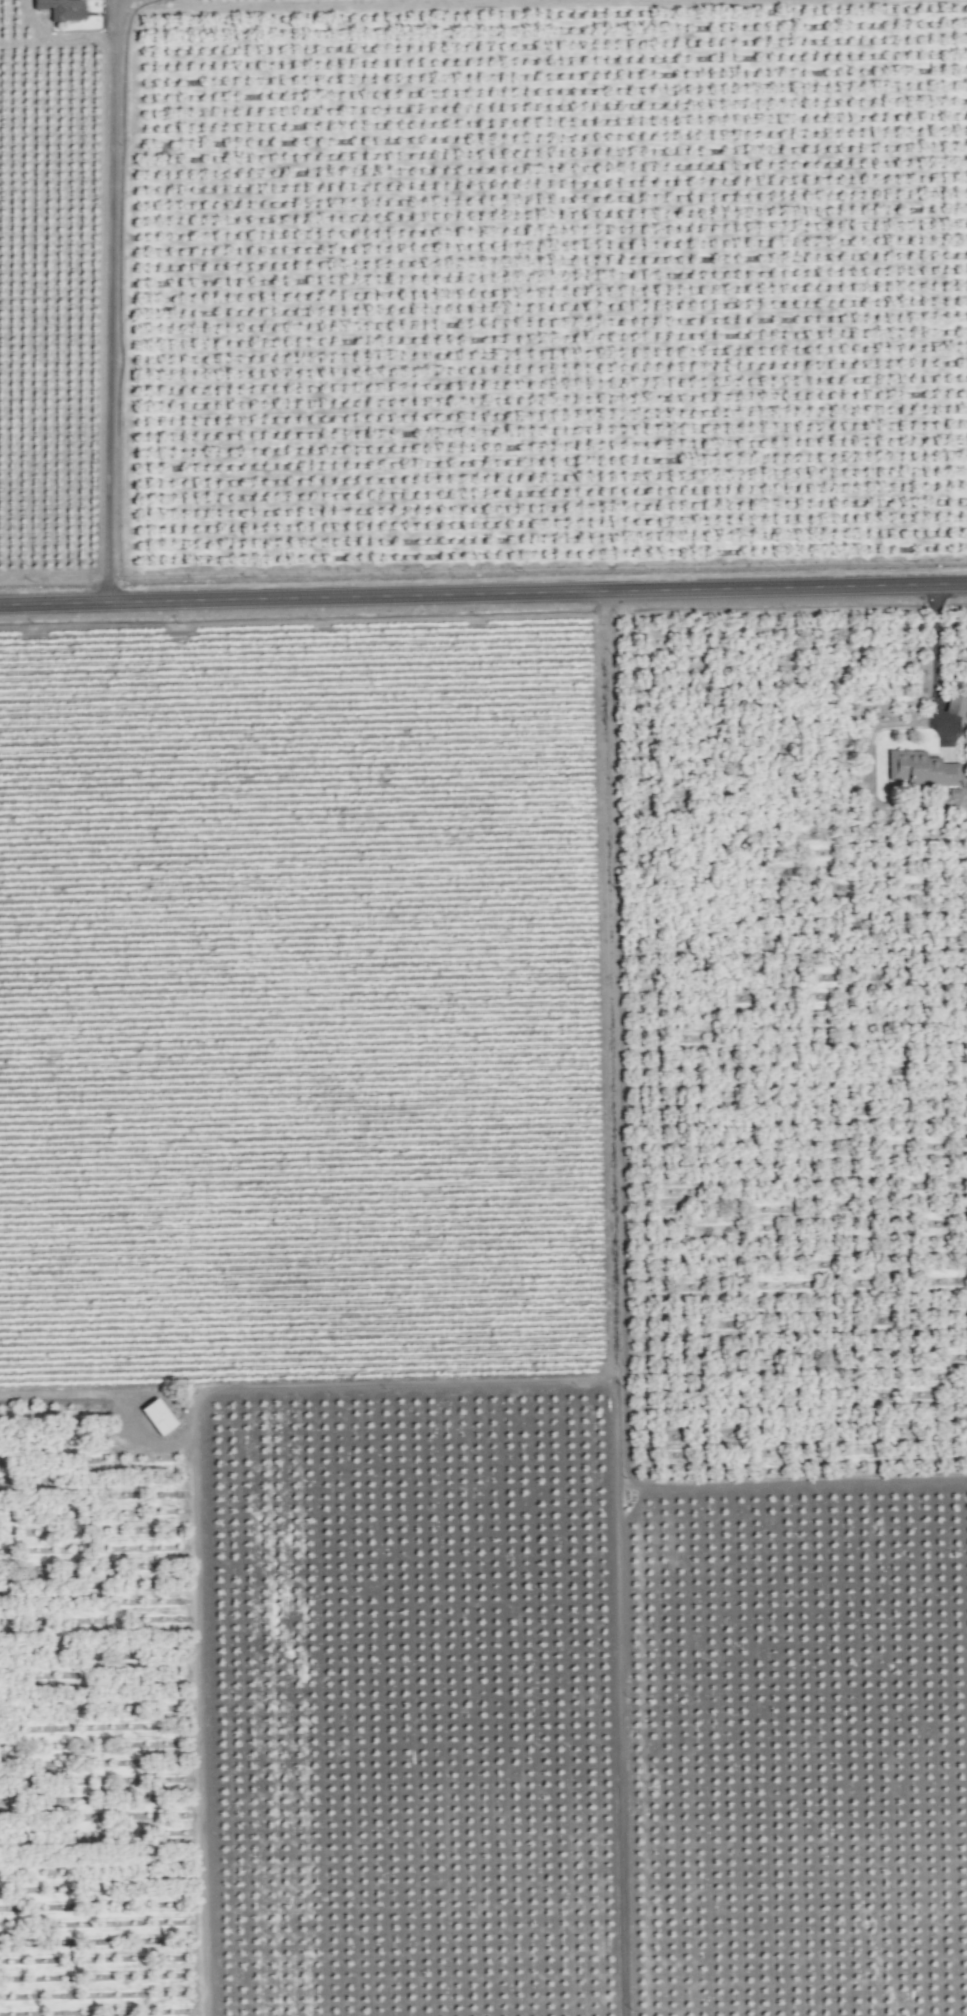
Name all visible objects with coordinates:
building: (60, 8)
road: (110, 302)
road: (483, 596)
road: (937, 669)
building: (956, 704)
building: (918, 767)
road: (615, 1304)
road: (408, 1386)
building: (156, 1416)

